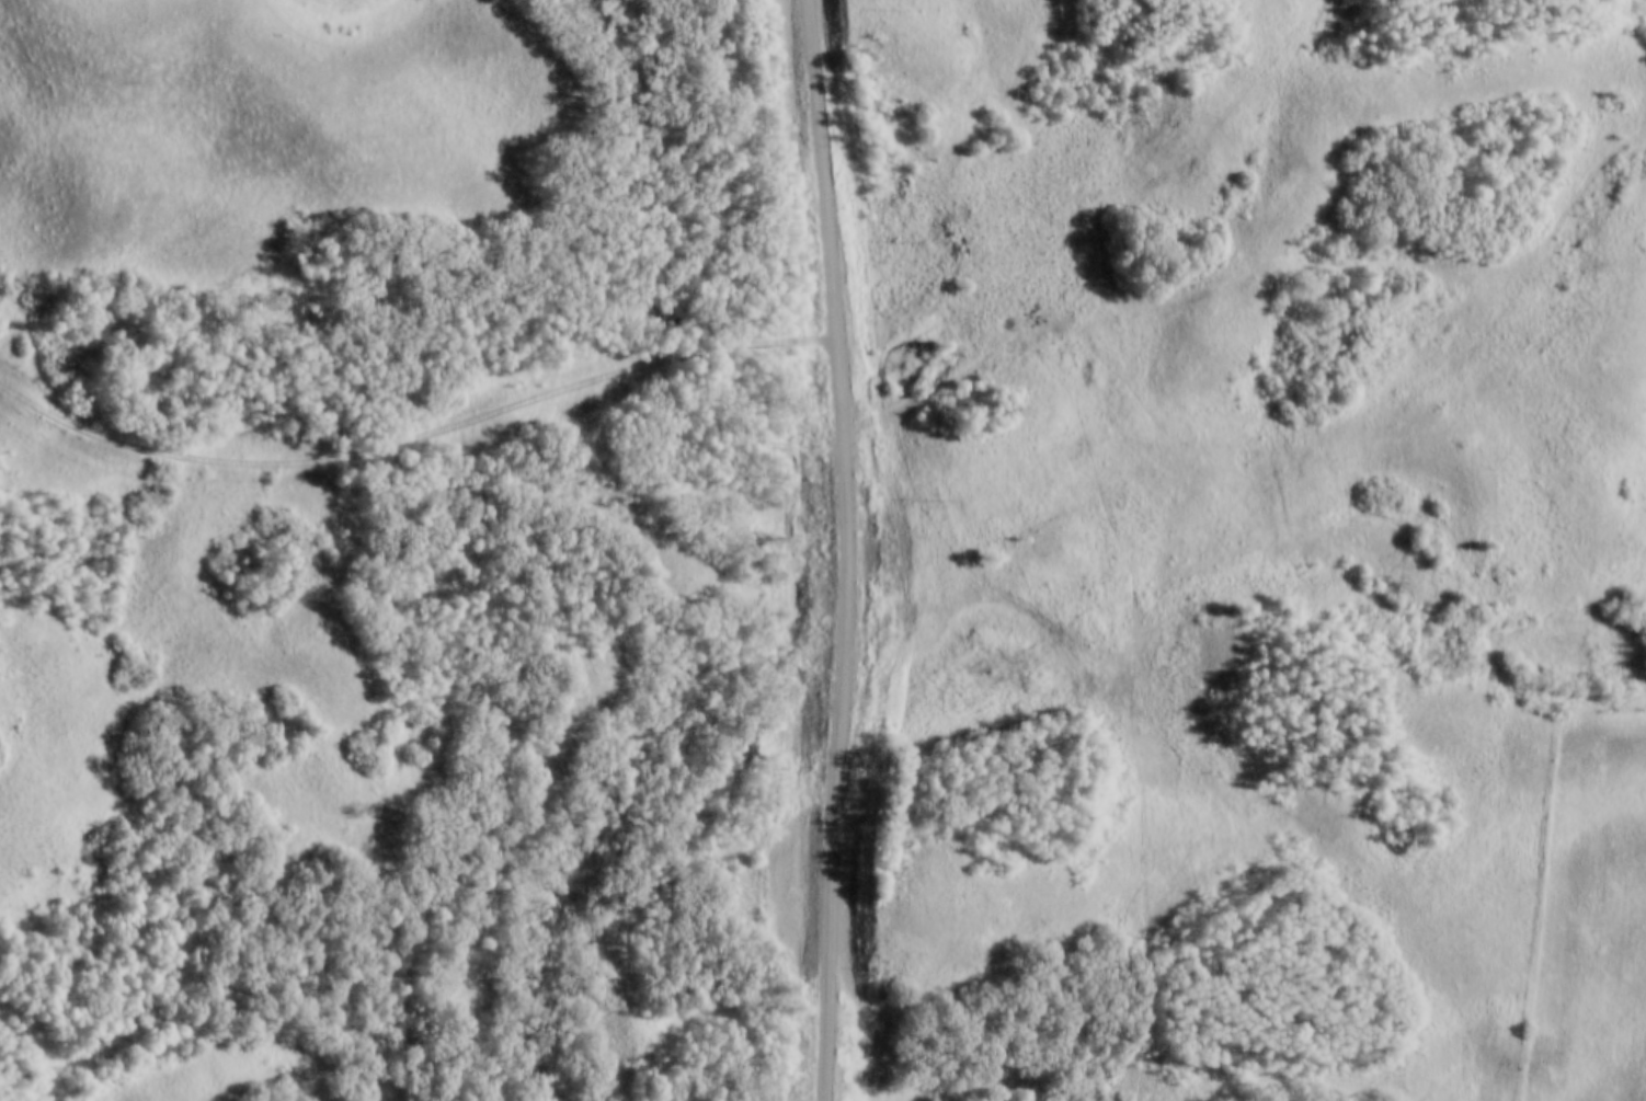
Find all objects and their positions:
road: (420, 426)
road: (875, 550)

